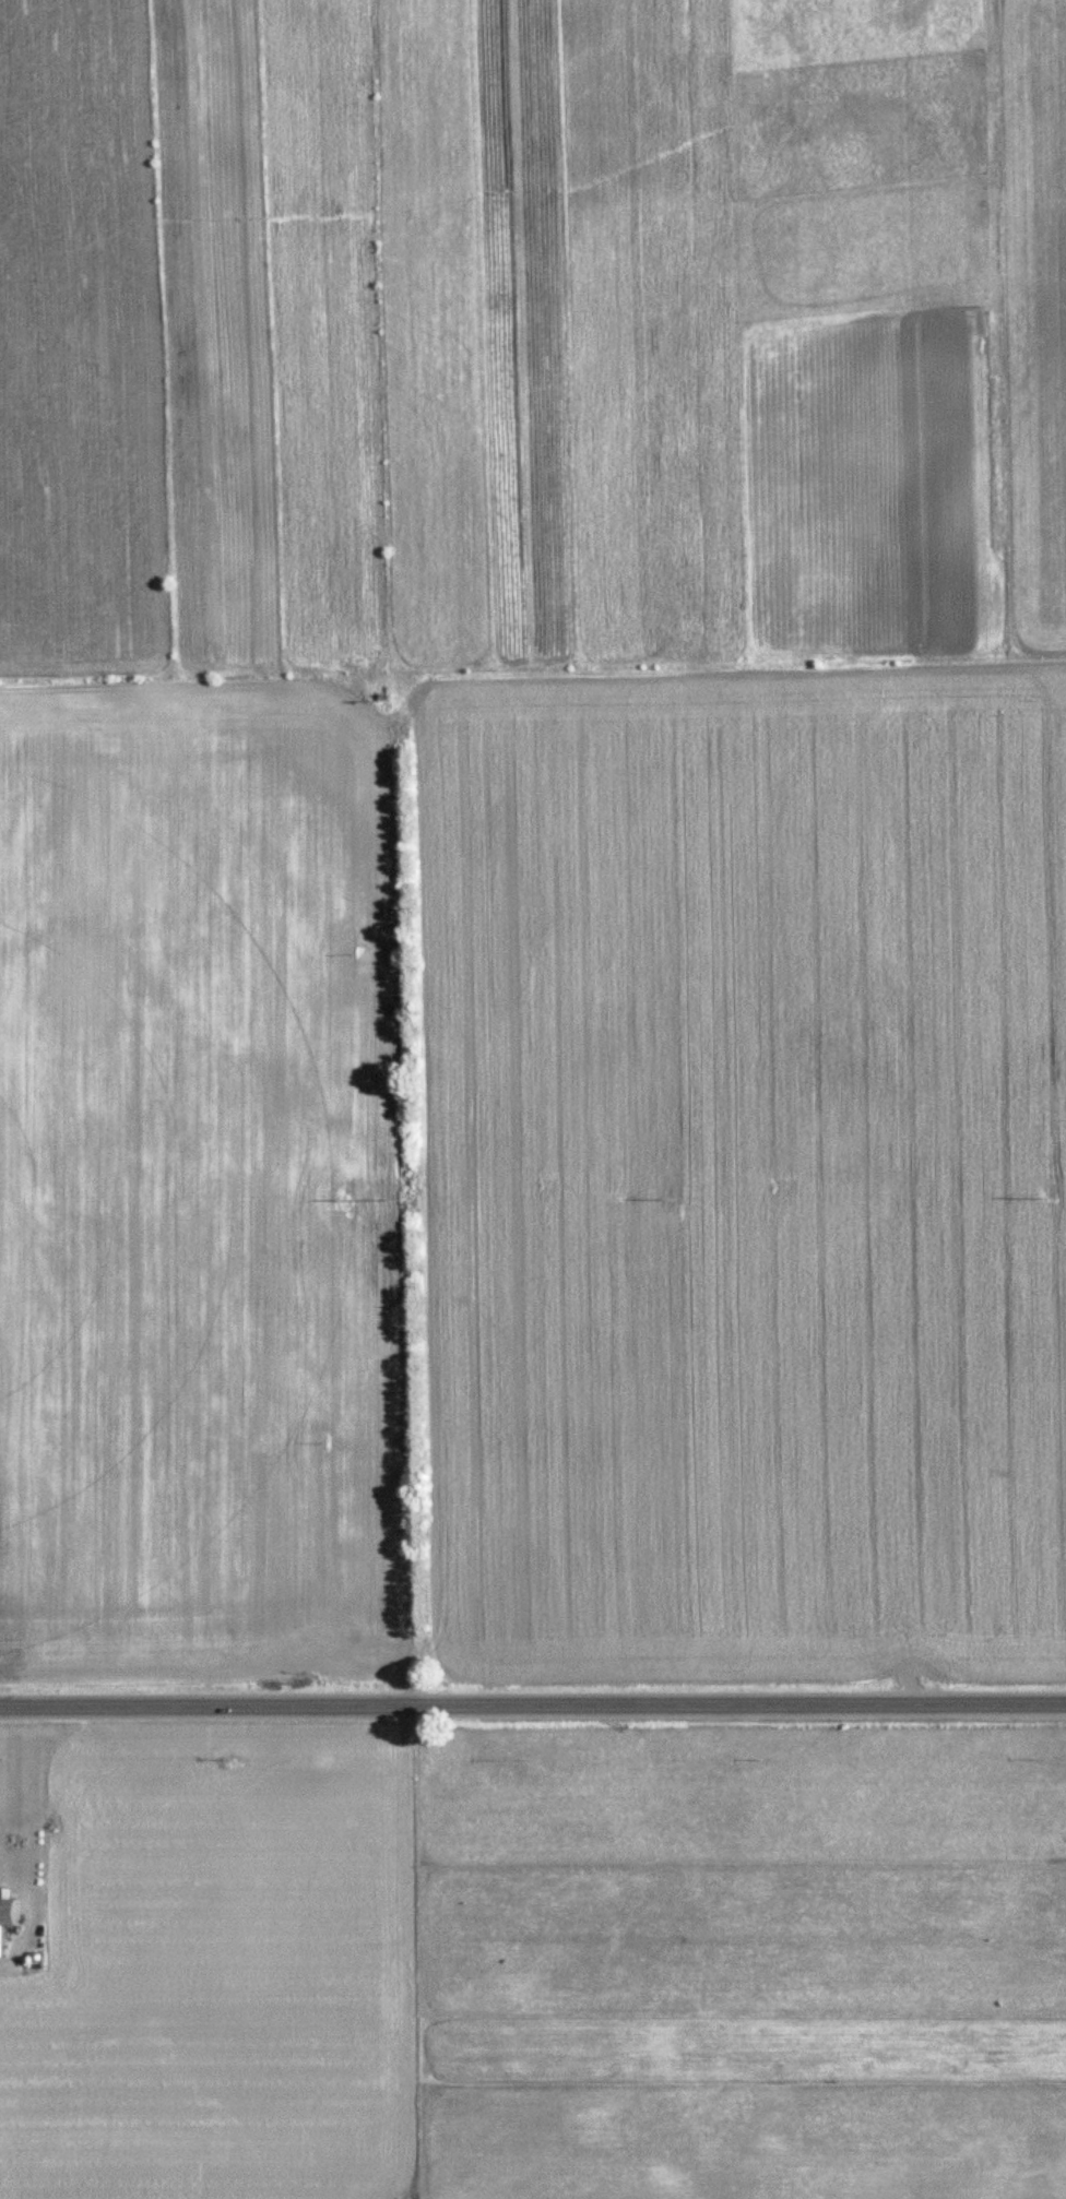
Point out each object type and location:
road: (533, 1700)
building: (7, 1912)

